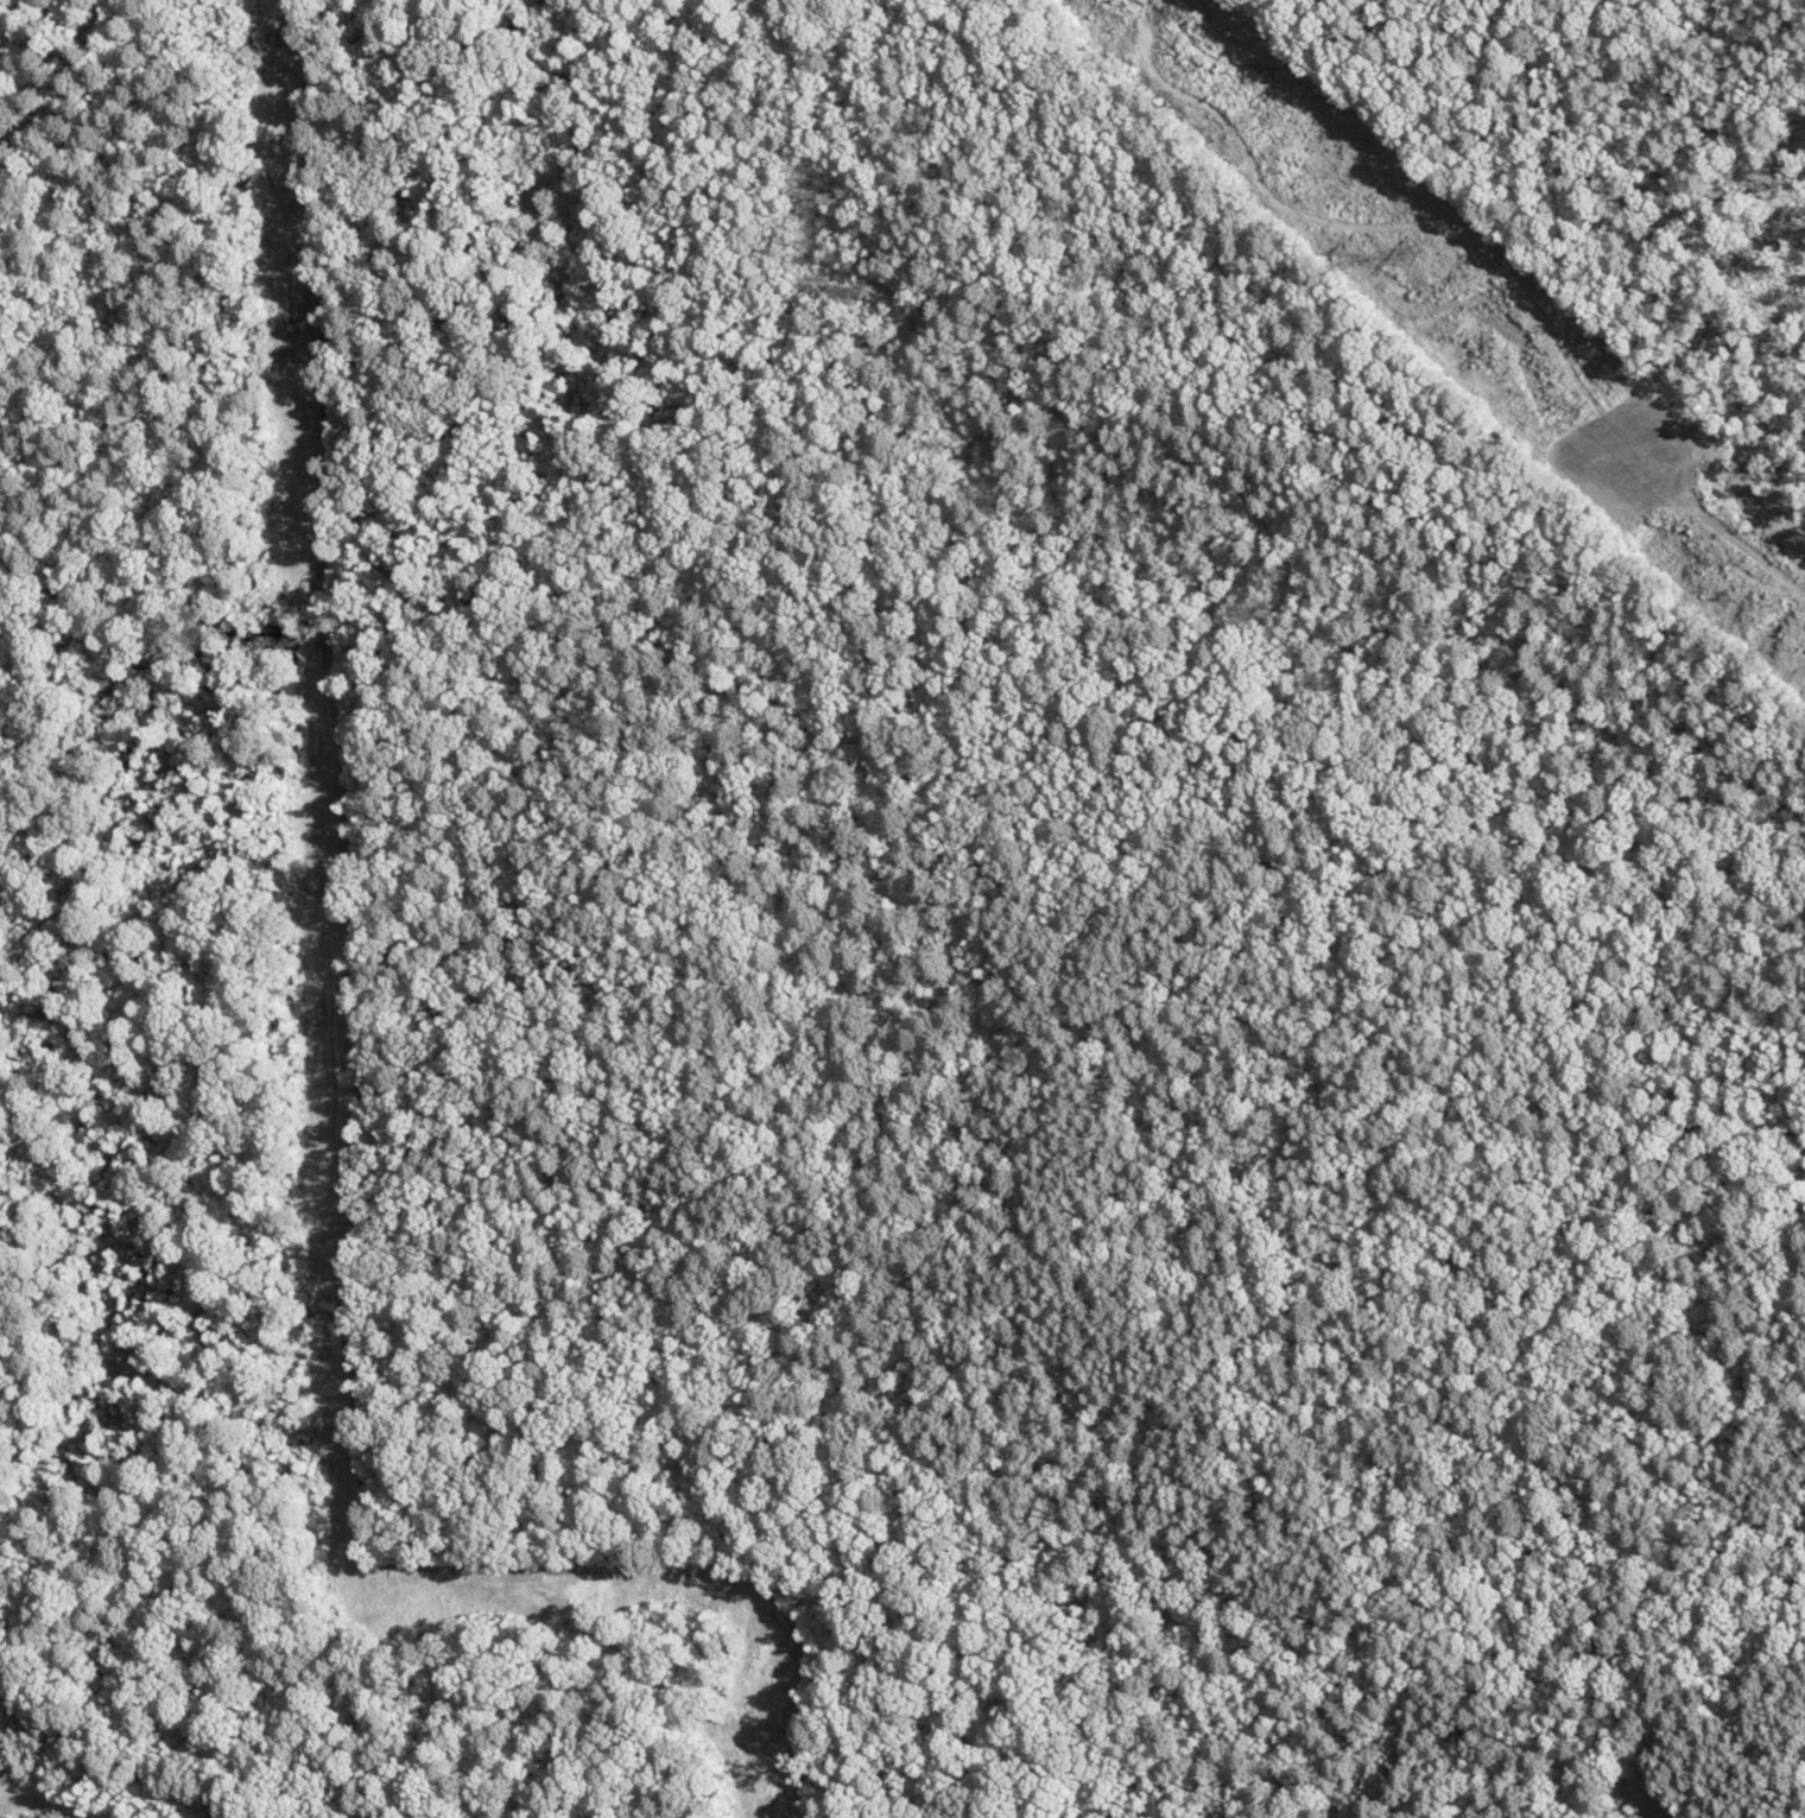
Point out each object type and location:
power tower: (1394, 253)

